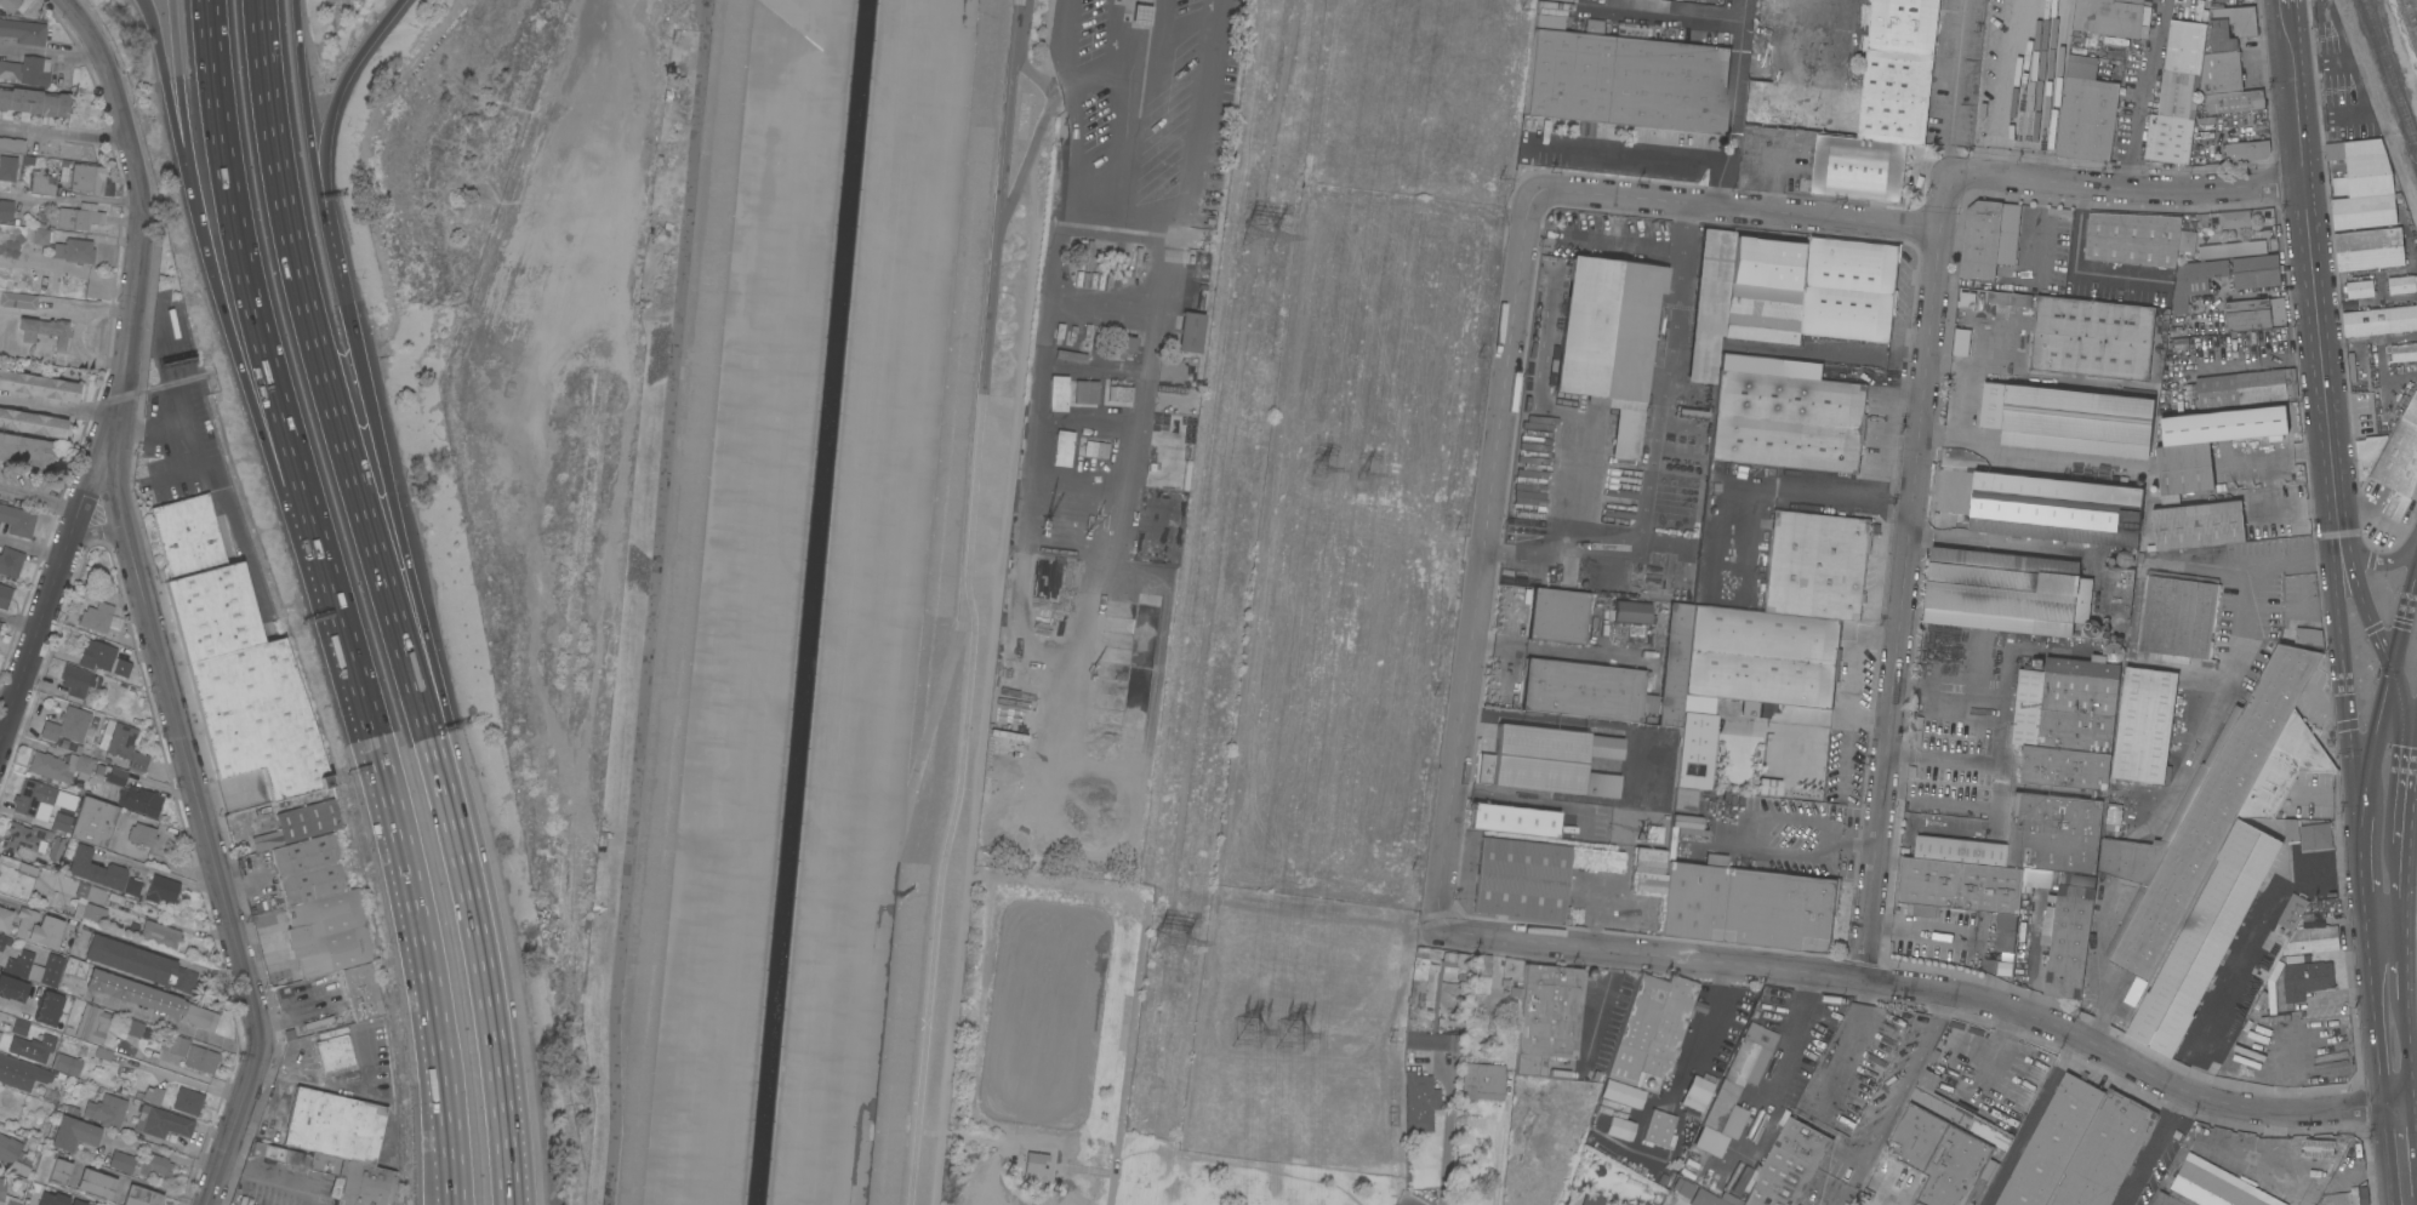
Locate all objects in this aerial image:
building: (4, 1)
road: (1022, 12)
building: (1141, 15)
road: (1661, 15)
building: (2111, 16)
building: (2409, 21)
building: (2228, 28)
building: (23, 30)
road: (1832, 51)
road: (51, 52)
building: (35, 70)
building: (2221, 73)
road: (1033, 74)
railway: (2389, 74)
building: (1625, 78)
road: (165, 86)
road: (178, 86)
road: (1954, 86)
road: (2003, 88)
road: (2140, 92)
parking lot: (1127, 93)
building: (2177, 93)
railway: (2383, 93)
building: (2231, 101)
building: (34, 102)
road: (1116, 104)
building: (1883, 105)
building: (1800, 107)
road: (329, 113)
building: (2086, 113)
road: (307, 124)
building: (2204, 127)
road: (64, 133)
road: (1074, 136)
building: (11, 144)
road: (1031, 145)
building: (2246, 150)
road: (1710, 165)
building: (7, 167)
building: (87, 177)
building: (42, 184)
building: (2361, 184)
road: (2127, 187)
road: (1722, 190)
road: (69, 198)
road: (1175, 204)
building: (6, 210)
road: (1737, 215)
building: (79, 216)
building: (2234, 219)
power tower: (1270, 234)
building: (40, 235)
building: (1988, 238)
building: (2132, 238)
building: (2187, 240)
road: (1621, 245)
building: (2368, 249)
building: (73, 250)
building: (2230, 250)
building: (1079, 253)
road: (2309, 253)
building: (1088, 255)
building: (1136, 262)
road: (337, 265)
building: (2256, 272)
road: (2073, 273)
building: (2195, 281)
building: (2402, 284)
building: (2360, 289)
building: (1809, 290)
road: (255, 296)
building: (17, 299)
building: (1966, 299)
building: (2011, 299)
building: (1709, 303)
road: (39, 313)
building: (2254, 314)
building: (2379, 321)
building: (45, 330)
building: (1190, 331)
road: (75, 332)
building: (2092, 338)
building: (1609, 339)
building: (1961, 342)
building: (1123, 345)
road: (1825, 353)
building: (2404, 353)
building: (1071, 355)
building: (39, 386)
road: (245, 386)
building: (2230, 389)
building: (1085, 392)
building: (1056, 393)
building: (1117, 393)
road: (57, 406)
road: (335, 409)
building: (1788, 421)
building: (2071, 422)
building: (32, 423)
road: (1654, 447)
building: (1061, 449)
building: (1095, 449)
building: (25, 450)
building: (2367, 453)
building: (2399, 459)
building: (2285, 464)
power tower: (1323, 468)
building: (2184, 468)
power tower: (1370, 479)
road: (211, 480)
road: (39, 502)
building: (2041, 507)
building: (17, 520)
building: (2200, 525)
road: (95, 530)
road: (404, 546)
road: (30, 548)
road: (1746, 556)
building: (2124, 559)
road: (2379, 559)
building: (10, 561)
road: (1488, 565)
building: (1815, 565)
building: (1636, 573)
building: (1666, 573)
road: (1906, 575)
road: (2356, 588)
road: (50, 590)
building: (2116, 592)
building: (2006, 593)
building: (5, 595)
road: (143, 601)
road: (997, 601)
river: (810, 602)
road: (968, 602)
building: (2177, 613)
building: (1560, 615)
road: (1512, 616)
building: (99, 617)
building: (1629, 617)
building: (0, 622)
road: (18, 622)
building: (2299, 634)
road: (1494, 644)
road: (1517, 646)
road: (1585, 653)
building: (1761, 657)
building: (102, 658)
building: (234, 658)
road: (2230, 666)
road: (2339, 668)
road: (1506, 670)
road: (2388, 673)
building: (78, 680)
building: (1612, 683)
building: (2246, 695)
road: (6, 696)
building: (2238, 701)
building: (2182, 716)
building: (2065, 723)
building: (70, 725)
building: (2143, 726)
road: (1598, 727)
building: (126, 746)
building: (1694, 750)
road: (2404, 755)
building: (1543, 756)
road: (1943, 758)
road: (1997, 760)
building: (59, 766)
building: (99, 769)
building: (116, 776)
building: (1601, 784)
building: (1768, 787)
building: (101, 790)
building: (2064, 792)
building: (1801, 793)
road: (2324, 796)
building: (32, 798)
road: (2412, 798)
building: (1683, 799)
building: (139, 800)
building: (2187, 800)
building: (1718, 801)
building: (2227, 804)
road: (2361, 806)
building: (1729, 815)
building: (1512, 819)
building: (61, 822)
building: (93, 822)
building: (291, 823)
building: (1681, 826)
building: (2054, 833)
building: (142, 834)
building: (1653, 834)
building: (2308, 834)
building: (23, 836)
road: (1808, 840)
building: (56, 847)
road: (152, 862)
building: (93, 868)
building: (308, 868)
building: (16, 876)
building: (1521, 878)
building: (2026, 879)
road: (2407, 879)
building: (1647, 881)
building: (1960, 884)
building: (132, 885)
road: (409, 886)
building: (161, 889)
road: (246, 889)
building: (89, 903)
building: (1745, 906)
road: (2412, 910)
building: (2292, 912)
road: (2384, 912)
road: (50, 913)
building: (5, 919)
building: (2125, 920)
building: (38, 927)
road: (261, 930)
building: (327, 933)
building: (2068, 933)
building: (159, 935)
building: (2204, 938)
building: (2313, 940)
building: (4, 941)
power tower: (1186, 942)
road: (153, 950)
building: (2297, 958)
building: (129, 959)
road: (2245, 960)
building: (18, 963)
road: (2406, 965)
building: (51, 970)
road: (2367, 971)
building: (34, 972)
building: (1481, 976)
building: (2305, 978)
building: (12, 988)
road: (1931, 988)
building: (2271, 988)
building: (301, 989)
building: (361, 990)
building: (1515, 992)
building: (1429, 1003)
road: (490, 1005)
building: (47, 1007)
road: (2108, 1009)
road: (1598, 1012)
building: (1547, 1016)
road: (25, 1017)
building: (198, 1020)
road: (289, 1020)
building: (166, 1021)
building: (92, 1023)
building: (19, 1027)
building: (1651, 1028)
road: (1701, 1028)
building: (132, 1029)
power tower: (1250, 1032)
building: (0, 1033)
power tower: (1307, 1039)
building: (173, 1043)
road: (1128, 1046)
building: (32, 1047)
building: (335, 1055)
building: (200, 1058)
building: (65, 1063)
road: (2409, 1063)
park: (1078, 1067)
building: (16, 1072)
building: (1482, 1081)
road: (179, 1083)
road: (323, 1083)
road: (284, 1086)
building: (1699, 1089)
building: (1734, 1089)
building: (152, 1095)
building: (1624, 1095)
road: (1892, 1097)
building: (187, 1101)
building: (1754, 1101)
building: (1692, 1102)
building: (1419, 1103)
building: (106, 1110)
building: (1955, 1110)
road: (2033, 1119)
building: (161, 1121)
building: (336, 1125)
building: (1618, 1129)
building: (1659, 1129)
building: (73, 1133)
road: (1500, 1133)
building: (2051, 1142)
road: (2155, 1147)
building: (2319, 1149)
building: (2103, 1153)
road: (2400, 1153)
building: (13, 1154)
road: (160, 1154)
building: (1940, 1157)
building: (121, 1161)
building: (1034, 1163)
building: (154, 1164)
road: (2409, 1164)
building: (1788, 1165)
road: (1082, 1169)
building: (58, 1172)
road: (267, 1175)
building: (341, 1175)
building: (95, 1184)
building: (2214, 1184)
building: (1682, 1187)
building: (1, 1189)
building: (15, 1195)
building: (2362, 1195)
building: (141, 1197)
road: (451, 1198)
road: (452, 1198)
building: (1731, 1198)
building: (52, 1199)
building: (1706, 1199)
building: (2171, 1199)
building: (245, 1200)
building: (1591, 1200)
building: (76, 1201)
road: (2405, 1201)

